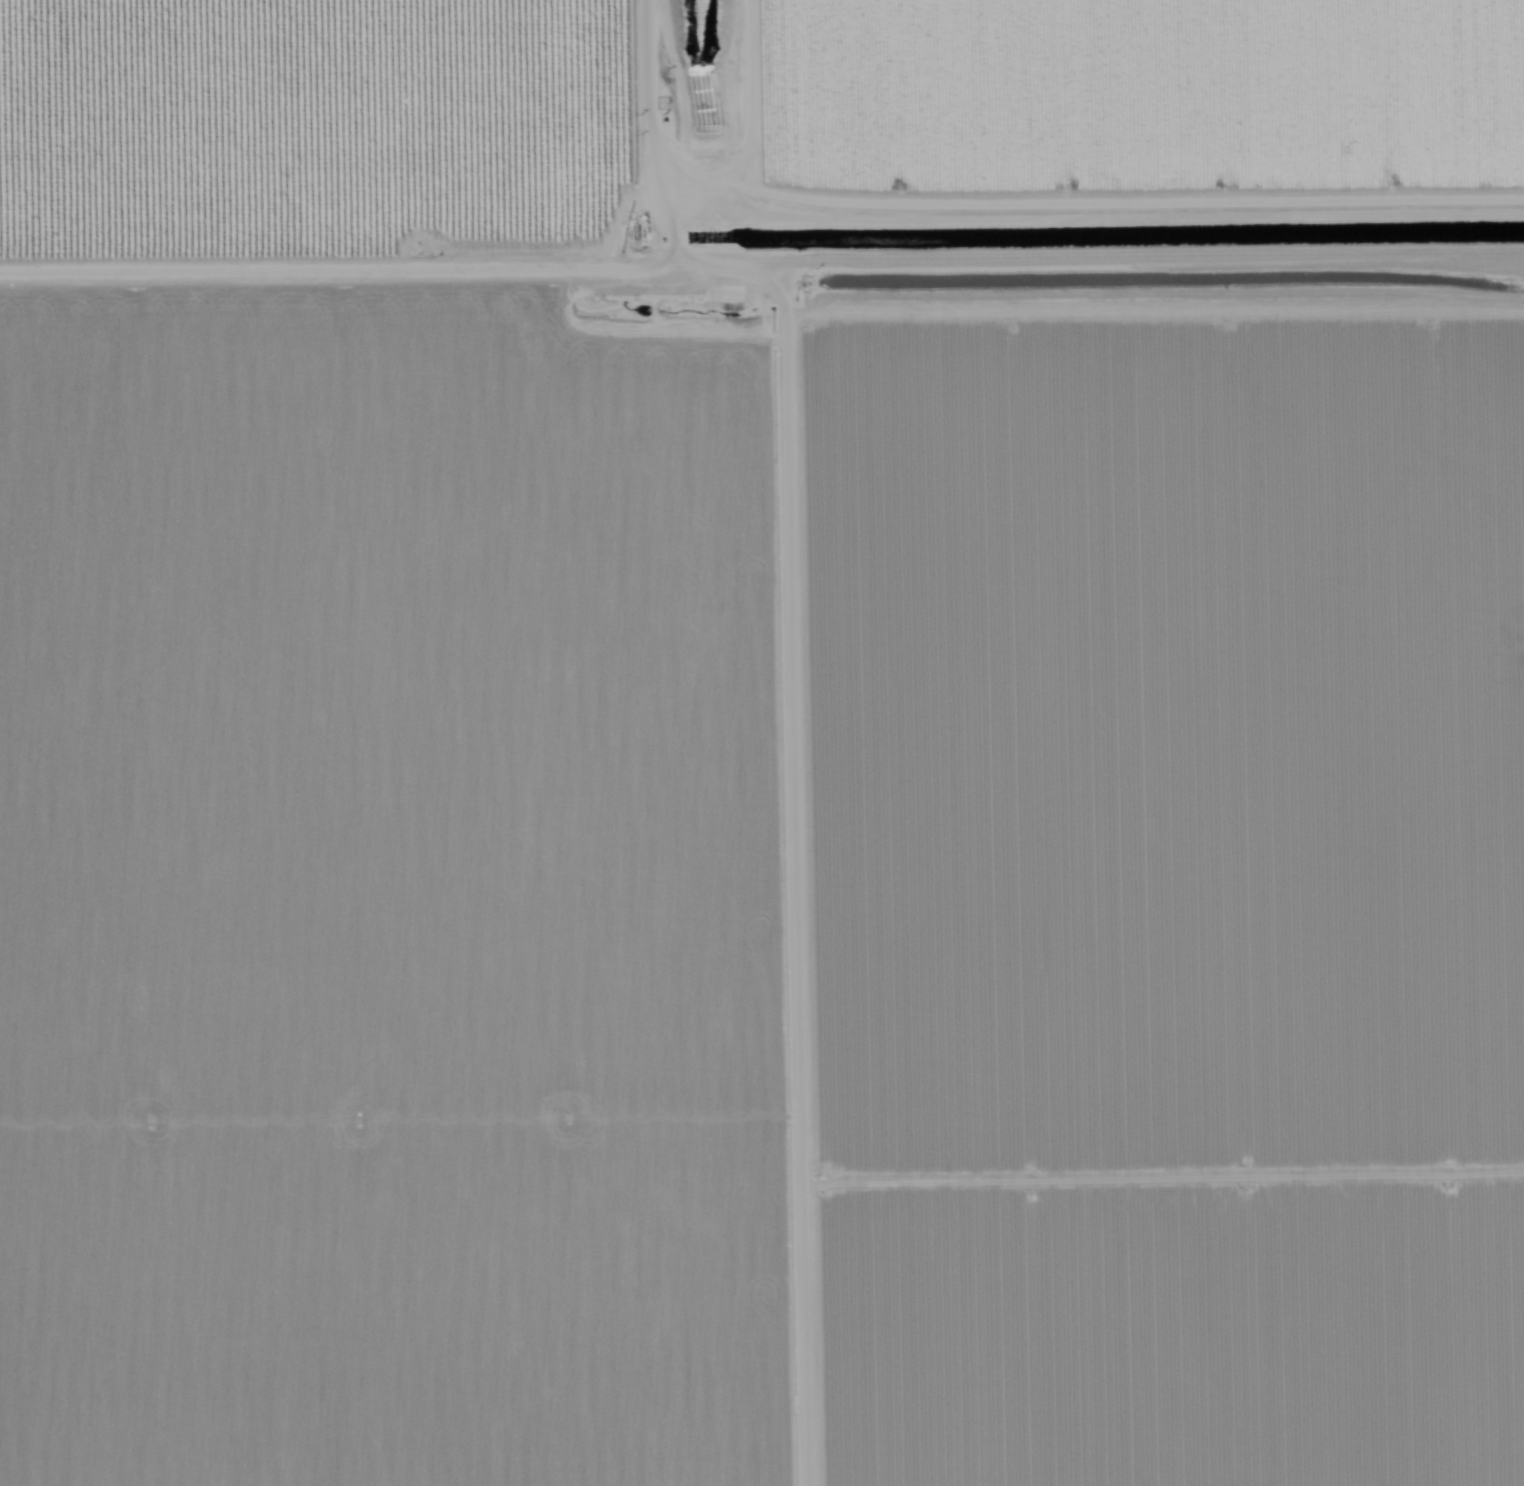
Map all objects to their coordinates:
crop: (1141, 98)
road: (643, 138)
road: (719, 142)
road: (679, 280)
road: (1118, 285)
road: (795, 887)
crop: (1184, 887)
crop: (422, 895)

